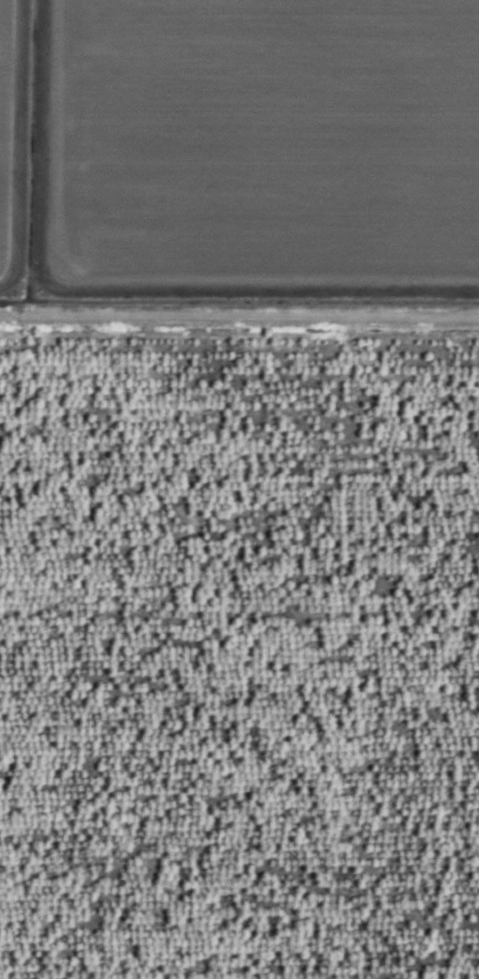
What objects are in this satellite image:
road: (30, 169)
road: (239, 342)

